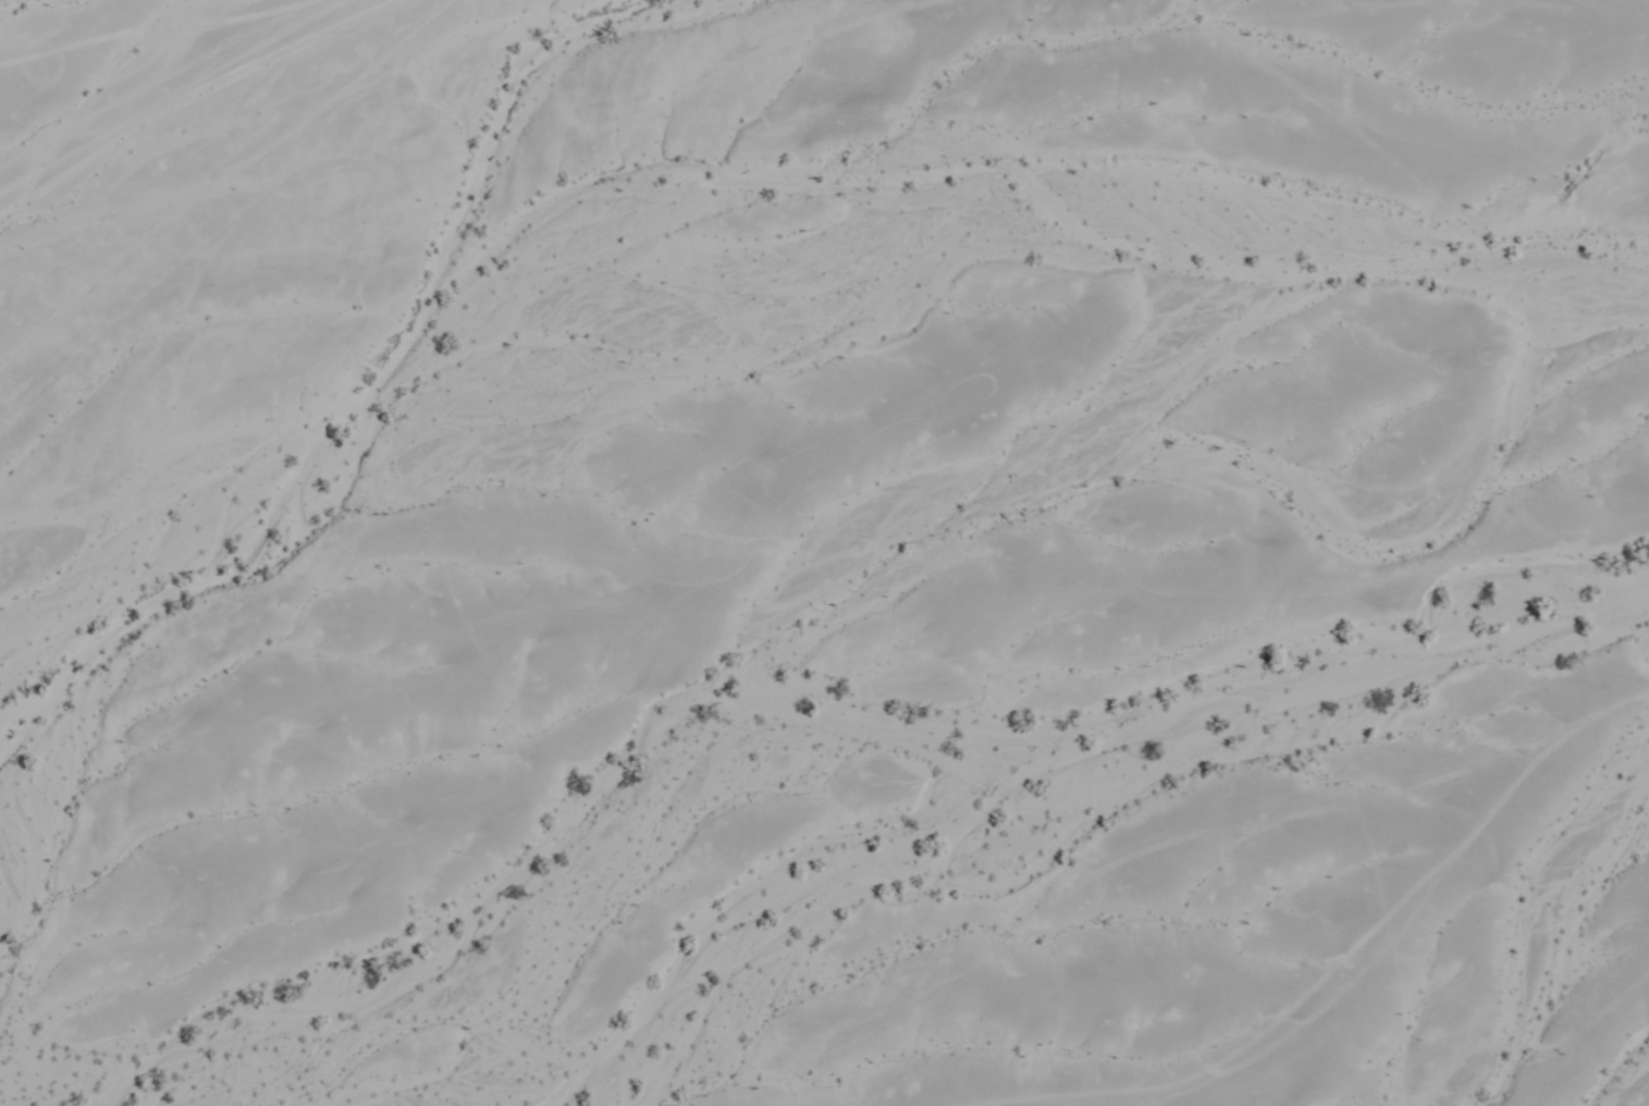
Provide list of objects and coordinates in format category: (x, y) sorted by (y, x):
road: (171, 93)

